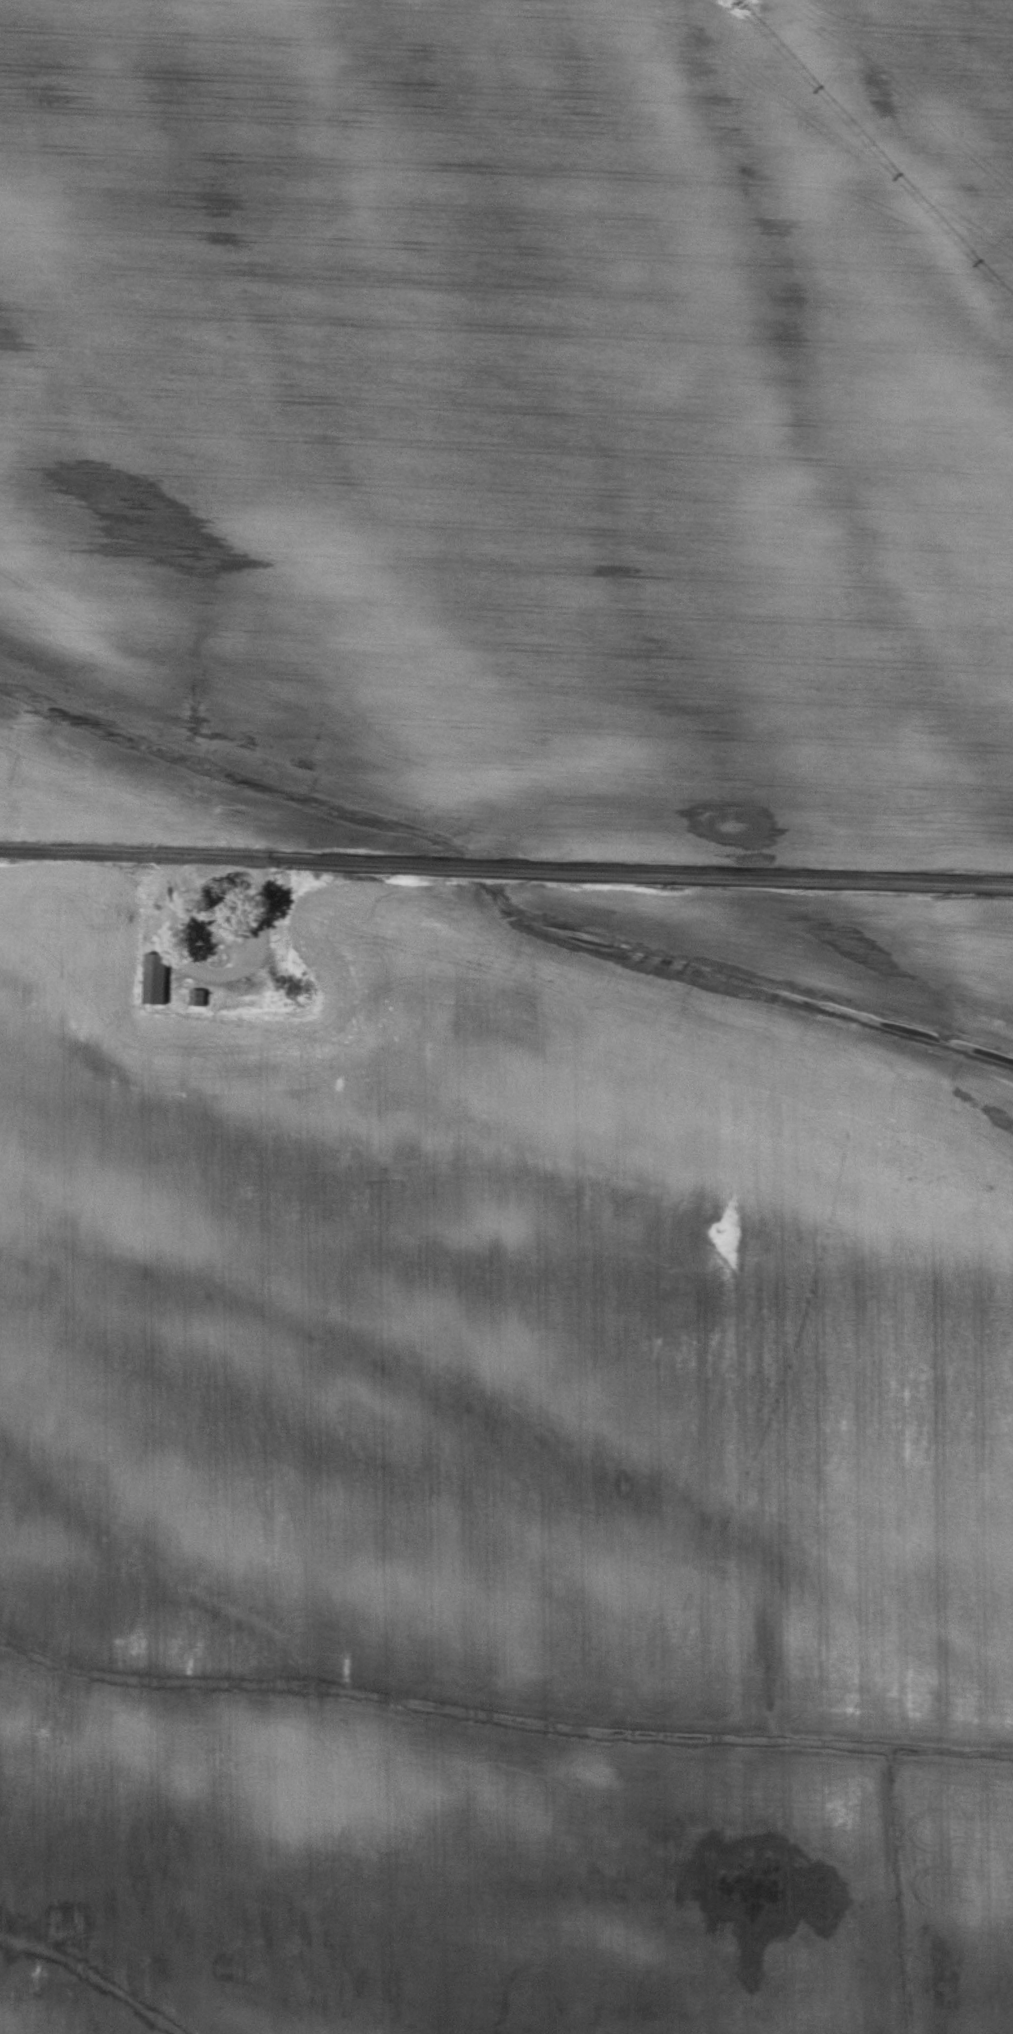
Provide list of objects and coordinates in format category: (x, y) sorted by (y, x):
crop: (510, 423)
road: (506, 858)
crop: (826, 940)
crop: (494, 1494)

